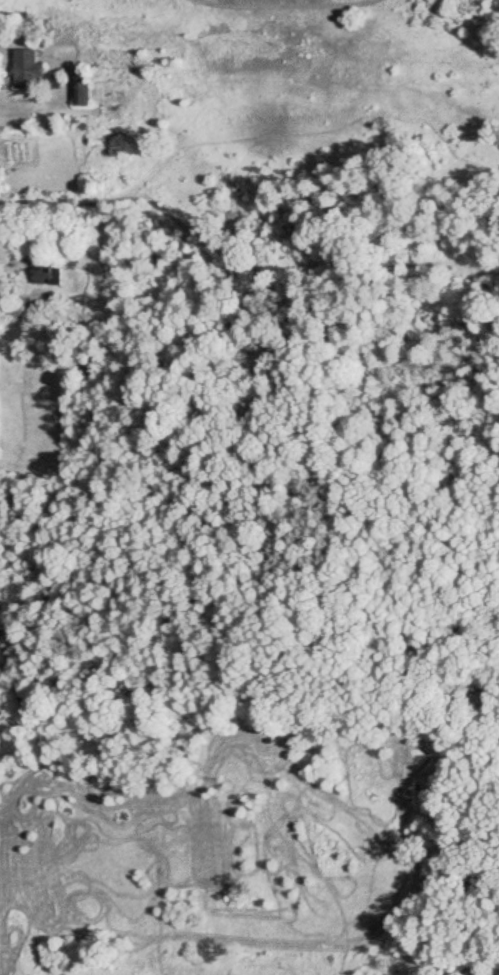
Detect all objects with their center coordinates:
building: (35, 71)
building: (81, 89)
building: (48, 272)

